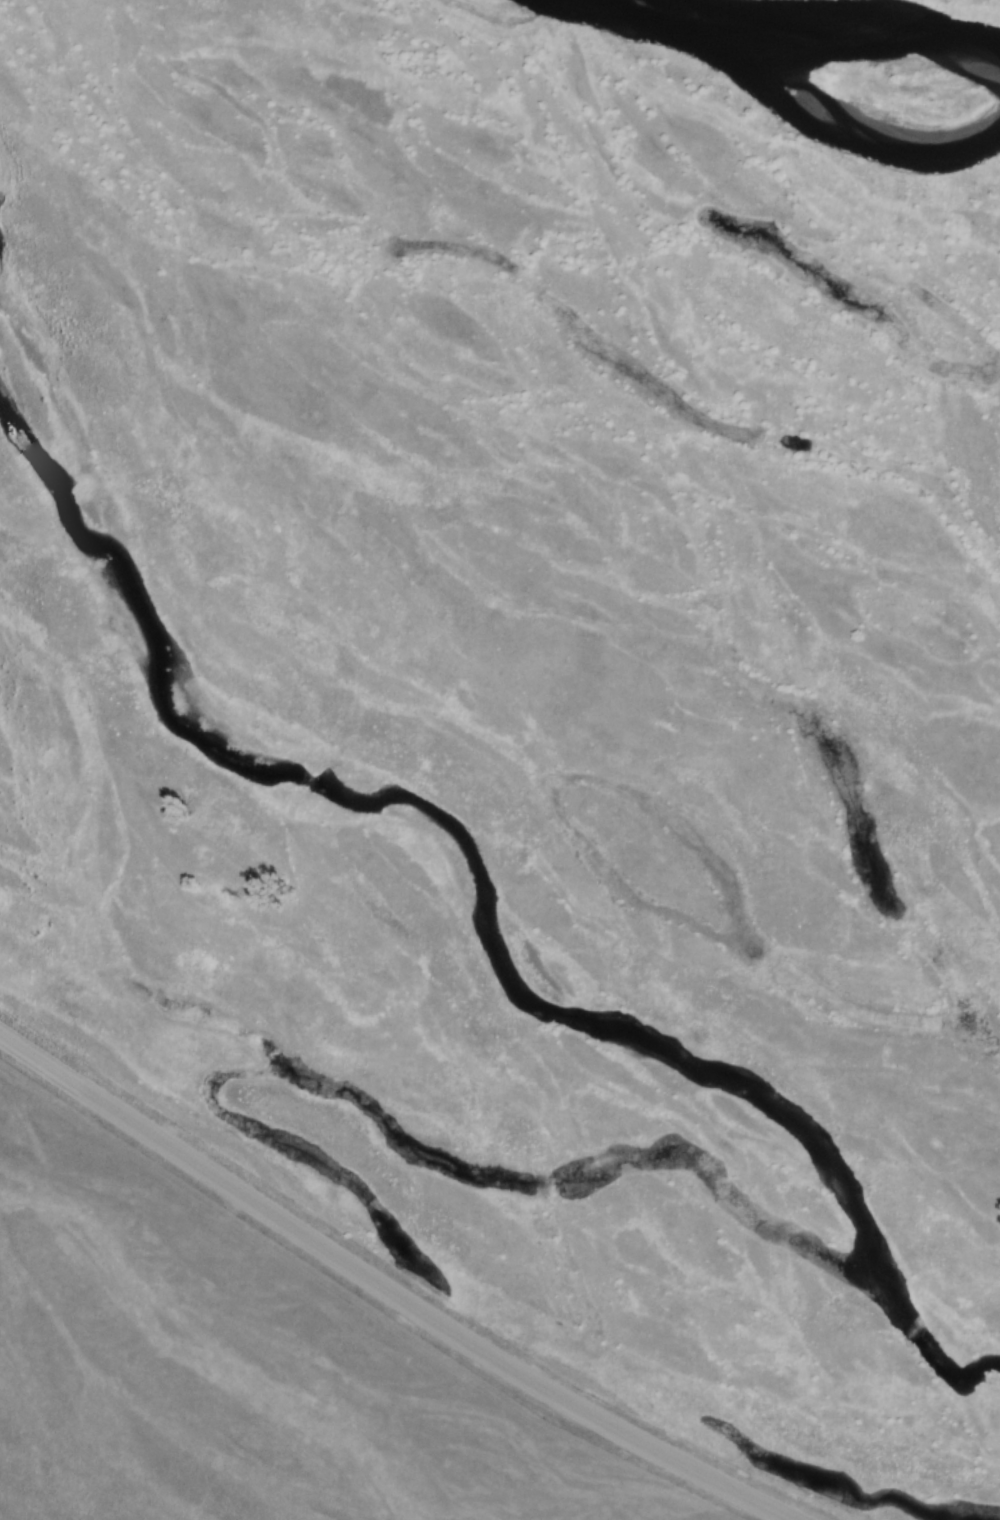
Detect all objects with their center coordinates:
road: (379, 1299)

